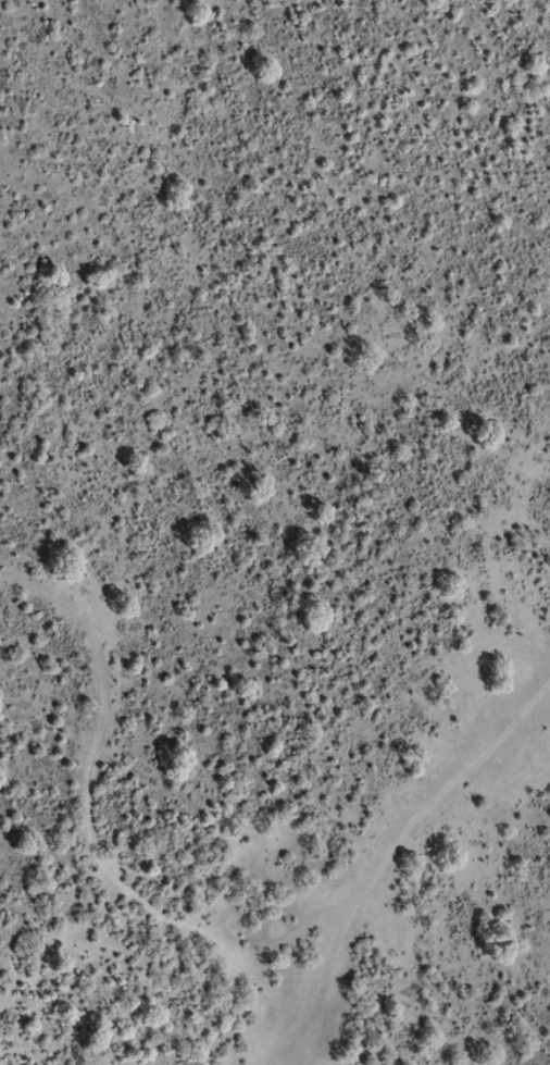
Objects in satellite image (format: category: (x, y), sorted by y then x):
road: (412, 886)

